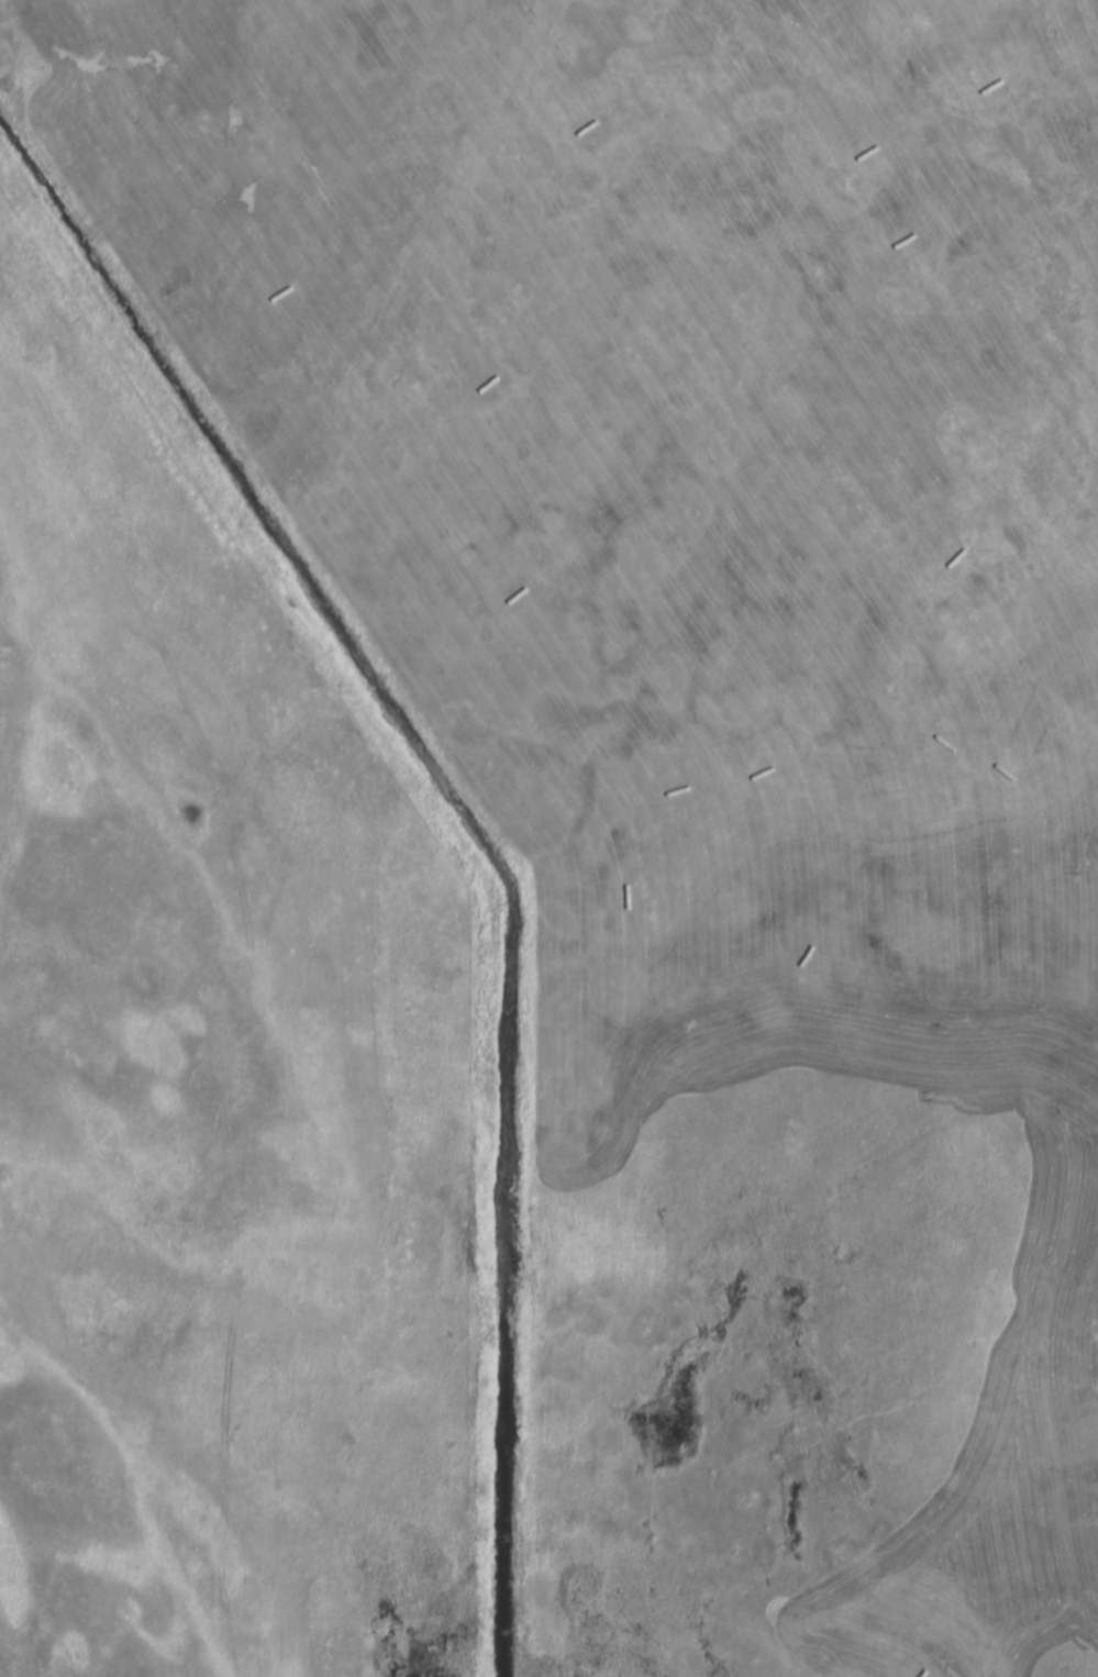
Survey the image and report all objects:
airport runway: (992, 838)

